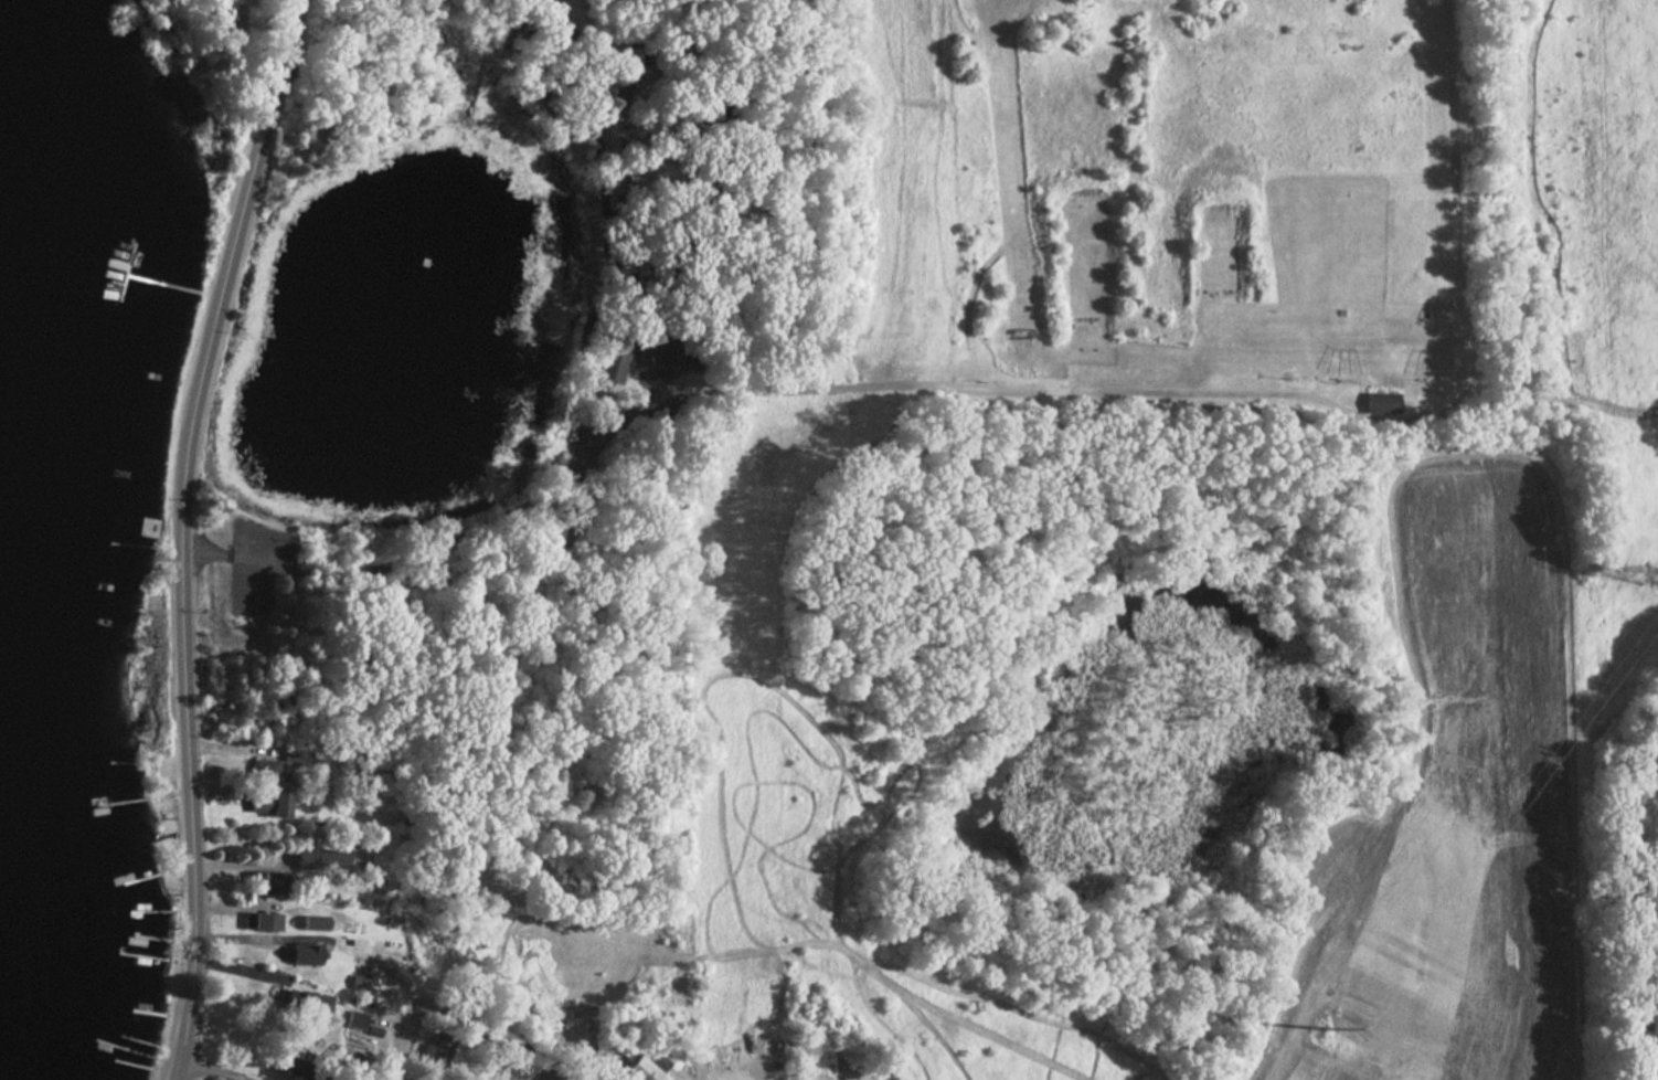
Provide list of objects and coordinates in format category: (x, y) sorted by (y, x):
building: (216, 8)
building: (662, 350)
building: (614, 364)
building: (1378, 402)
road: (183, 522)
power tower: (1655, 582)
building: (291, 754)
building: (268, 771)
building: (267, 804)
building: (322, 859)
building: (265, 883)
building: (263, 922)
building: (306, 954)
building: (360, 982)
building: (358, 1019)
power tower: (1326, 1033)
road: (394, 1048)
building: (438, 1051)
road: (180, 1068)
road: (214, 1068)
building: (299, 1069)
building: (637, 1070)

